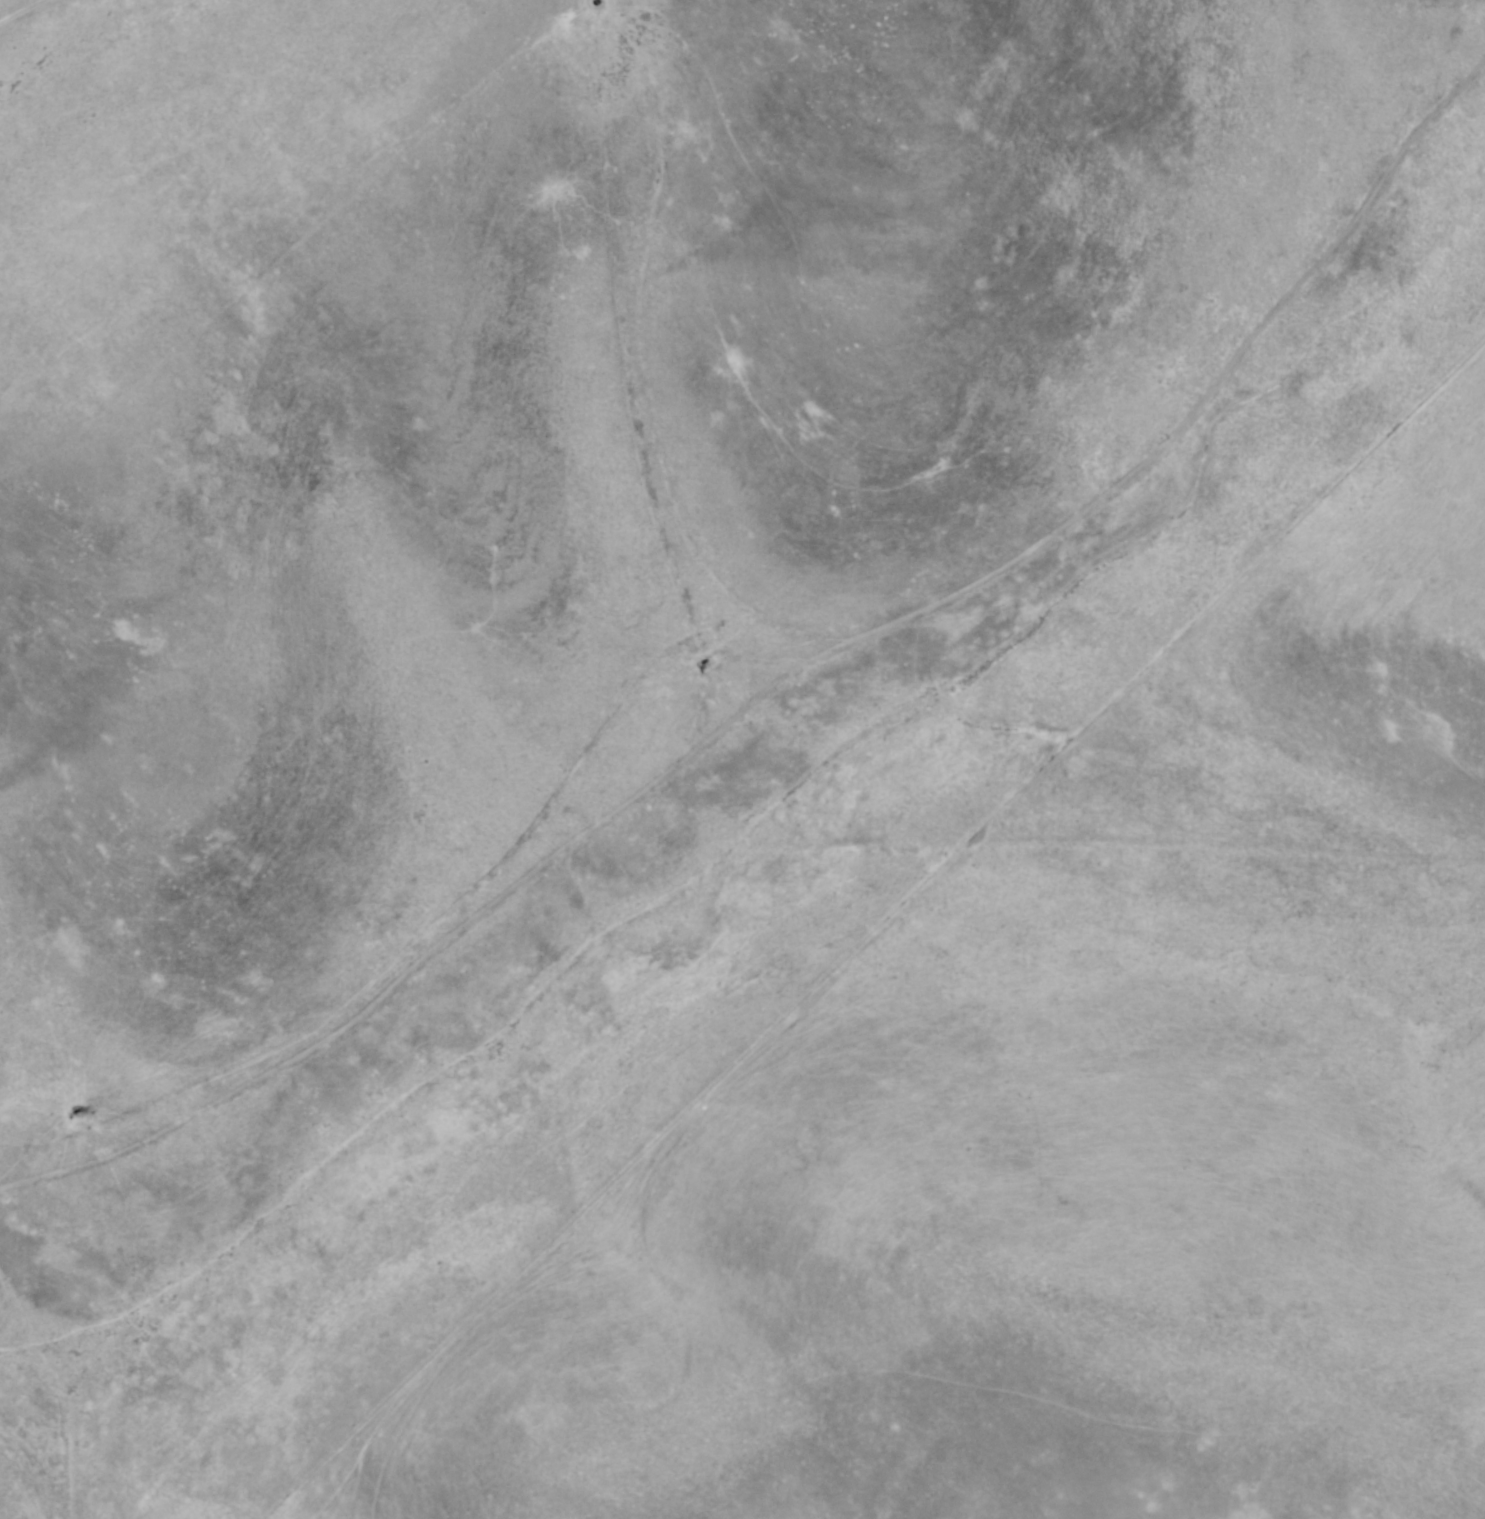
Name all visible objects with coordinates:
road: (1297, 890)

